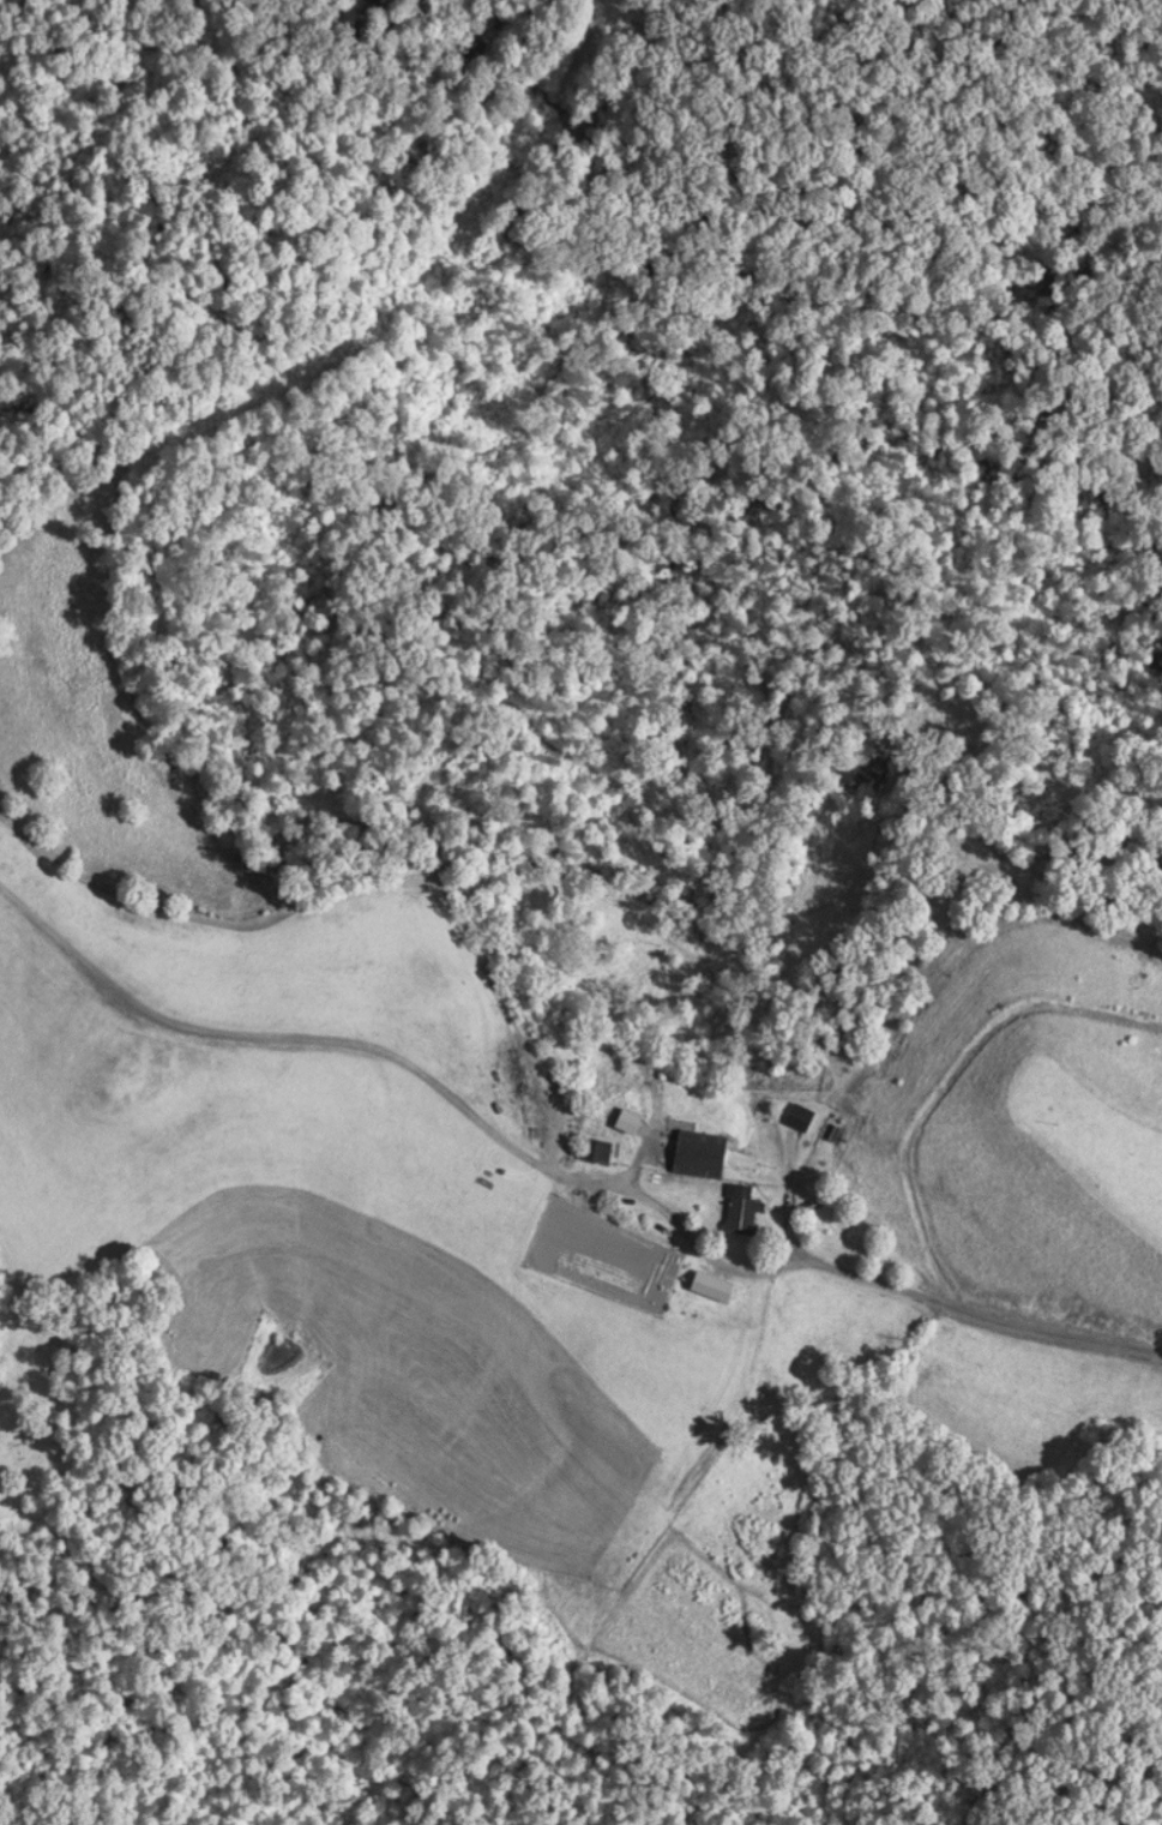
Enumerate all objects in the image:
building: (799, 1115)
road: (564, 1118)
building: (594, 1148)
building: (699, 1152)
building: (741, 1207)

